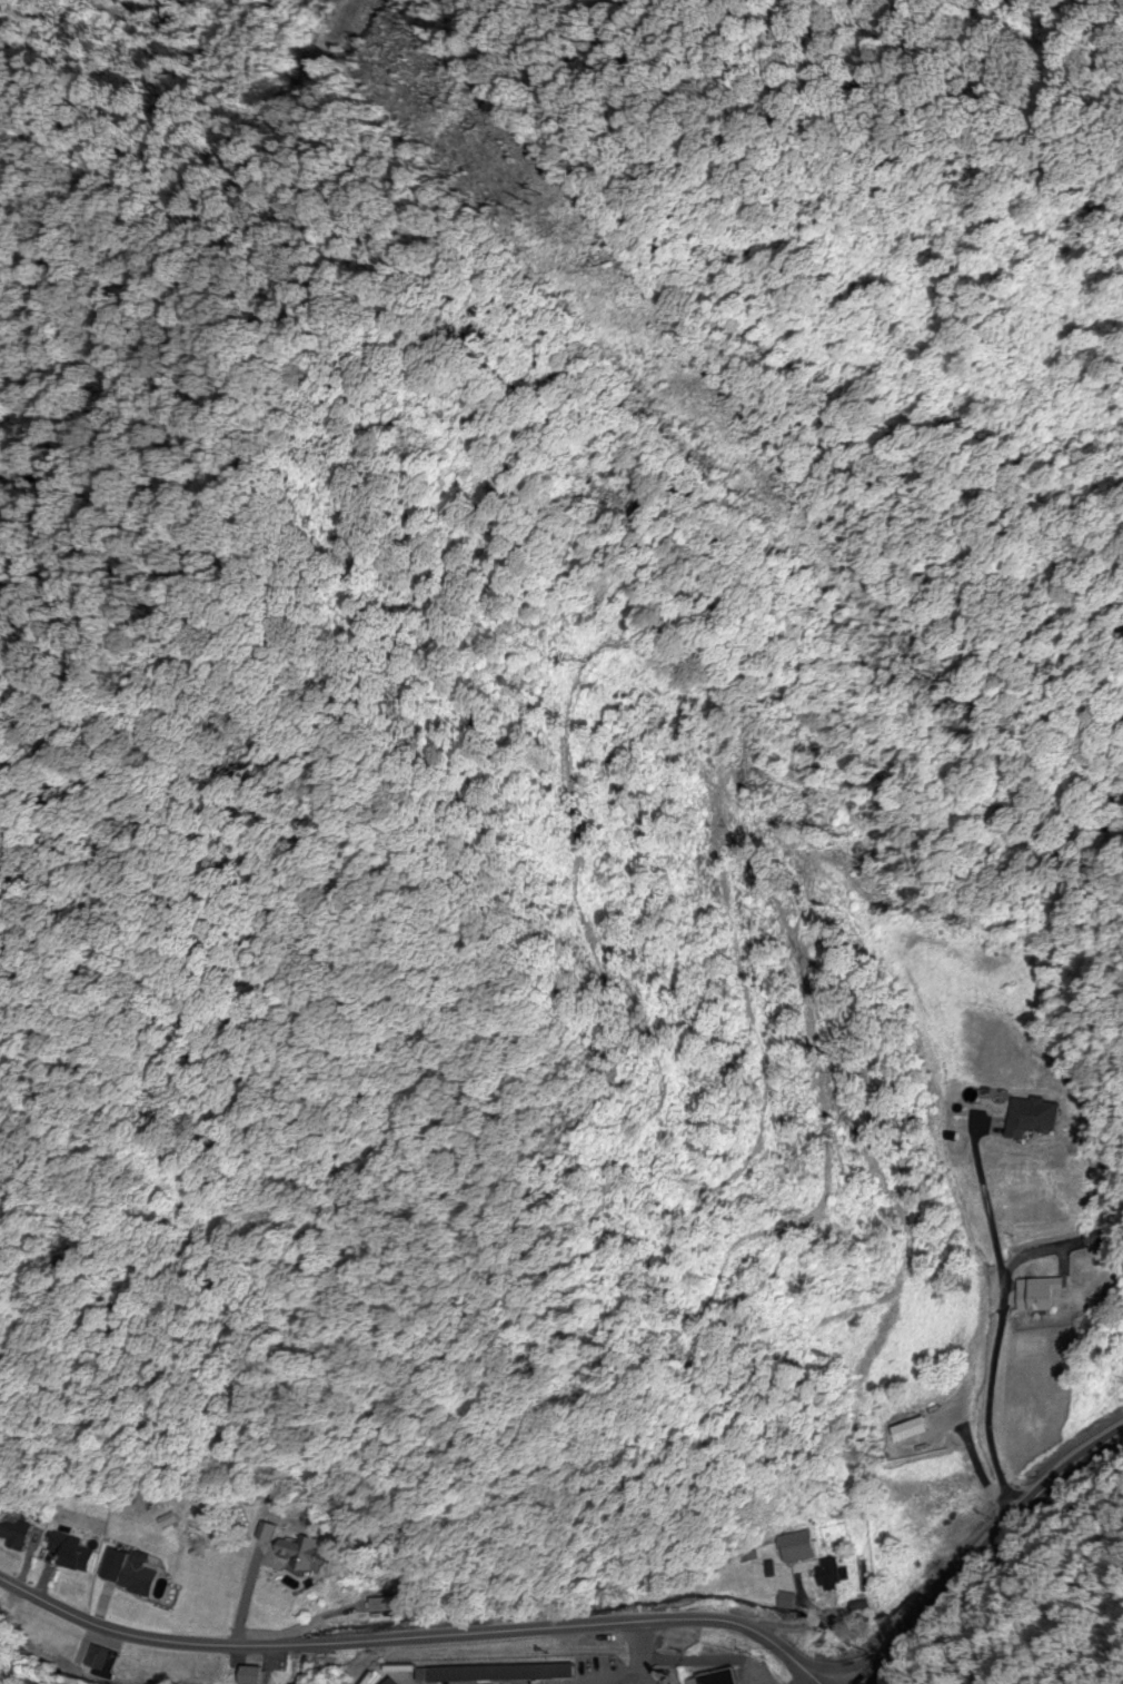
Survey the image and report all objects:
building: (1034, 1295)
road: (993, 1366)
building: (912, 1435)
building: (265, 1533)
building: (12, 1534)
building: (794, 1547)
road: (984, 1552)
building: (294, 1553)
building: (69, 1554)
building: (126, 1572)
building: (826, 1575)
road: (419, 1632)
building: (496, 1675)
building: (715, 1677)
building: (387, 1682)

